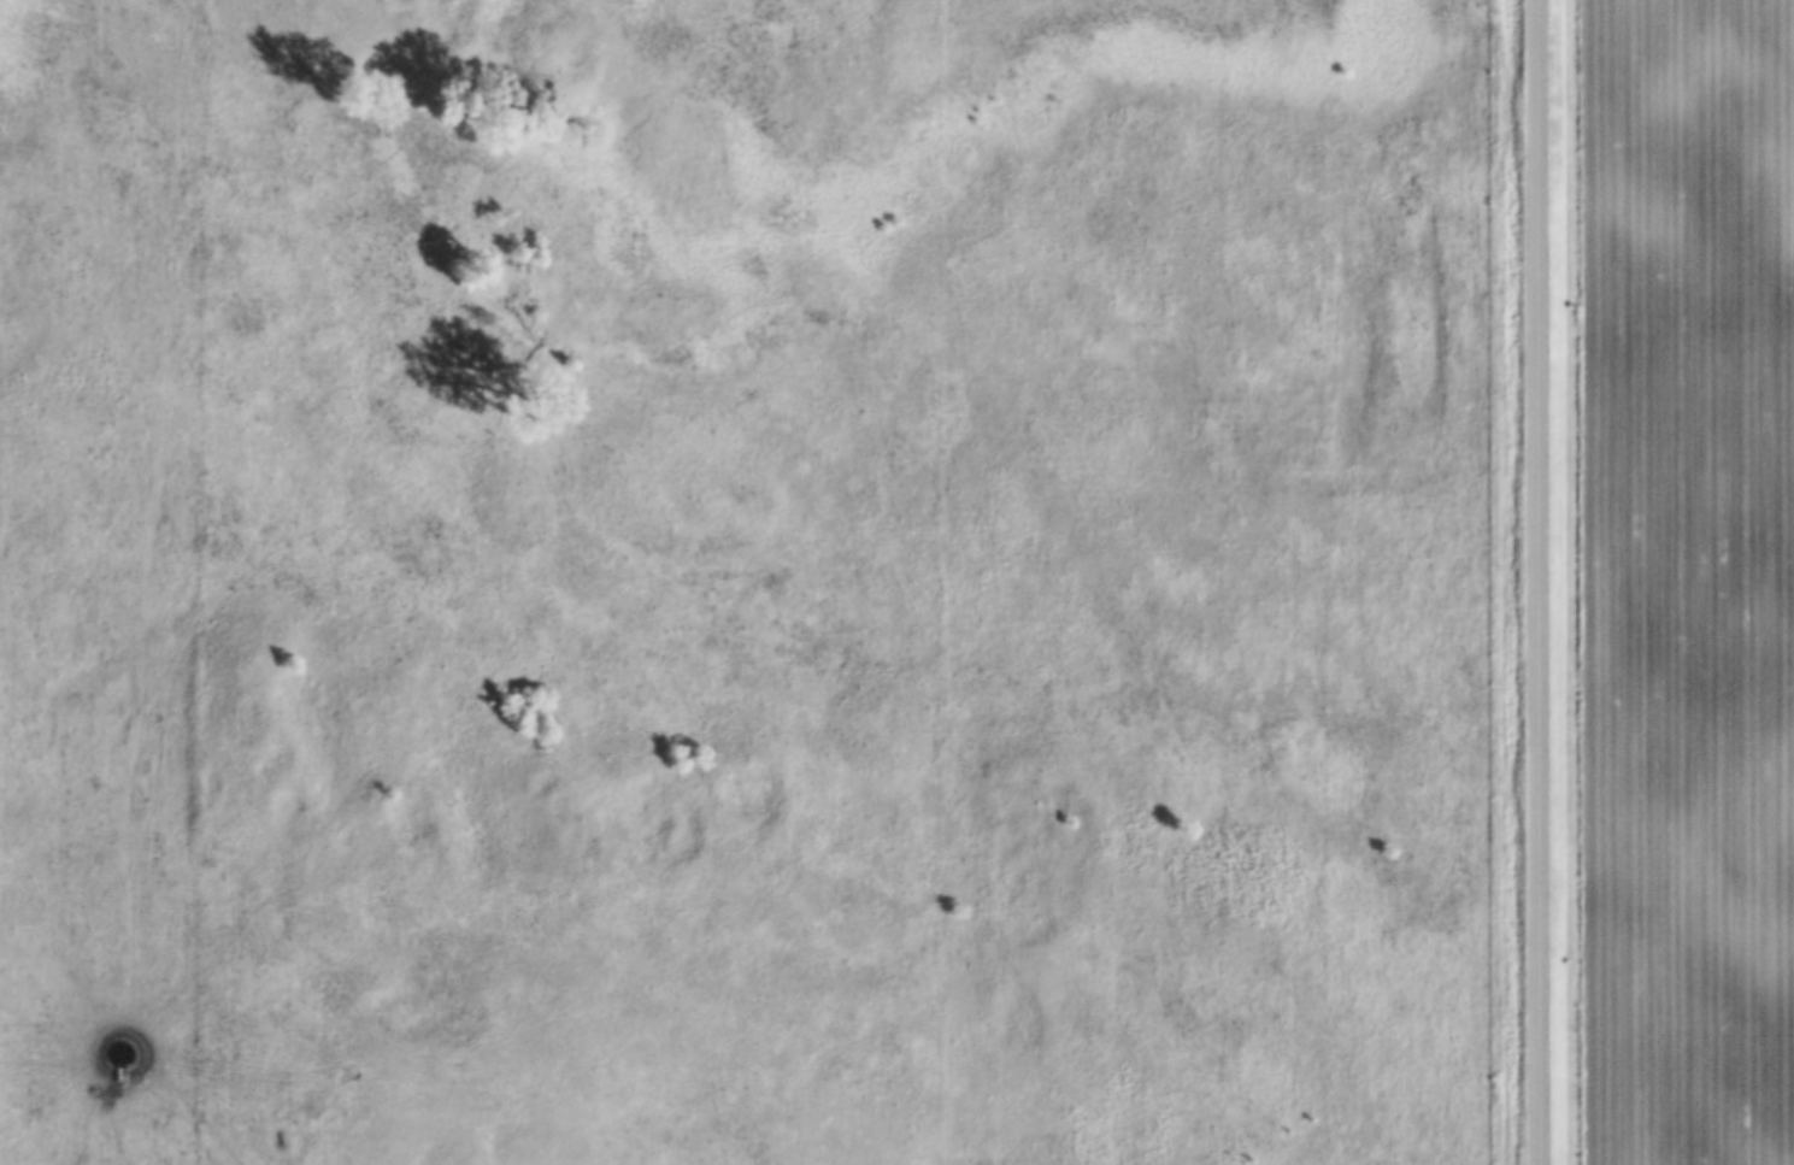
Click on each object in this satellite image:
road: (1537, 582)

